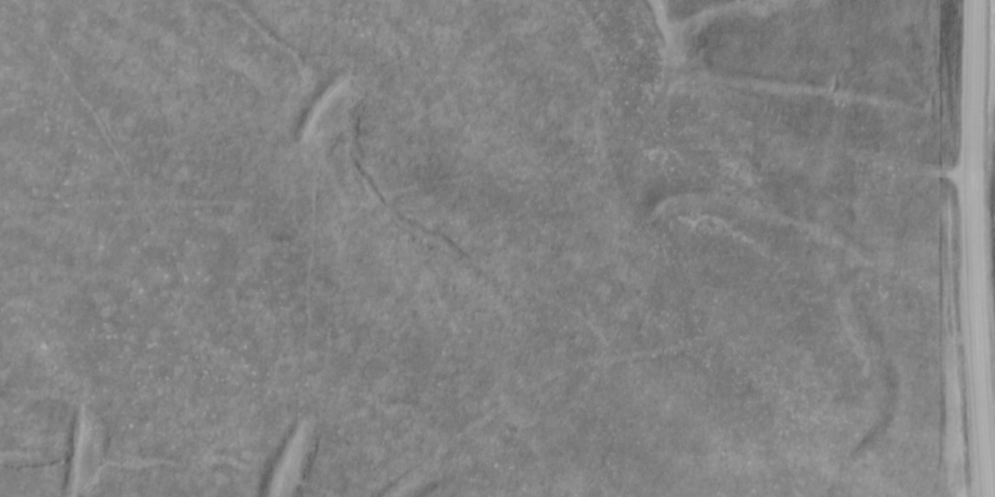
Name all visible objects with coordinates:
road: (970, 248)

